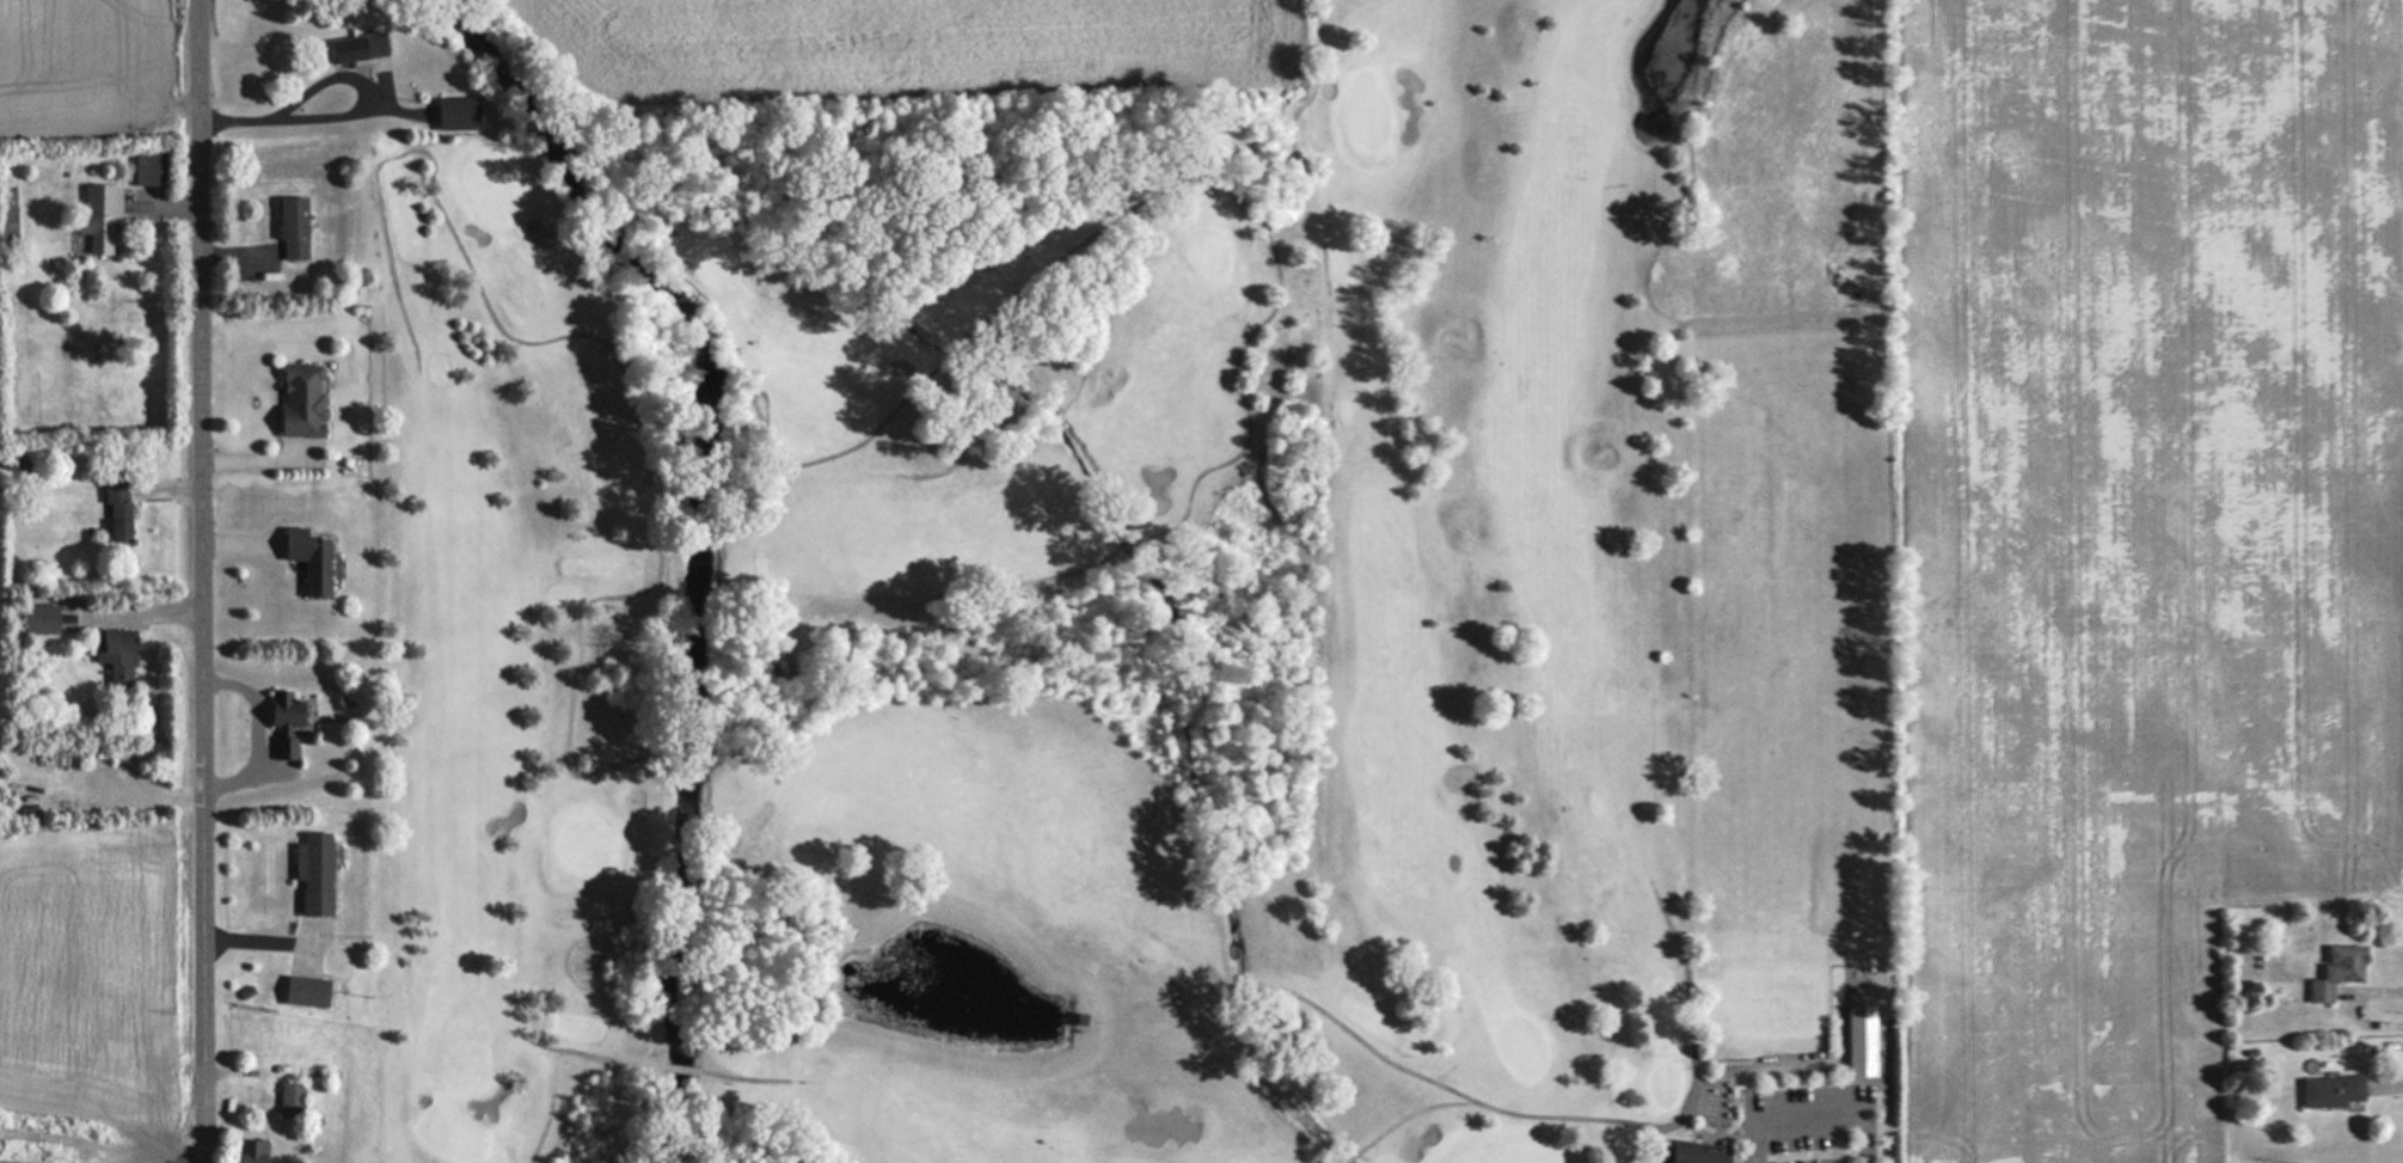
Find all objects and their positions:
building: (357, 48)
building: (456, 114)
building: (8, 214)
building: (99, 216)
building: (293, 229)
building: (300, 400)
building: (117, 509)
building: (308, 557)
road: (204, 581)
park: (1157, 616)
building: (116, 656)
building: (284, 720)
building: (313, 870)
building: (2337, 969)
building: (305, 990)
building: (1862, 1040)
building: (2332, 1090)
building: (290, 1102)
parking lot: (1807, 1149)
building: (251, 1151)
building: (1697, 1152)

